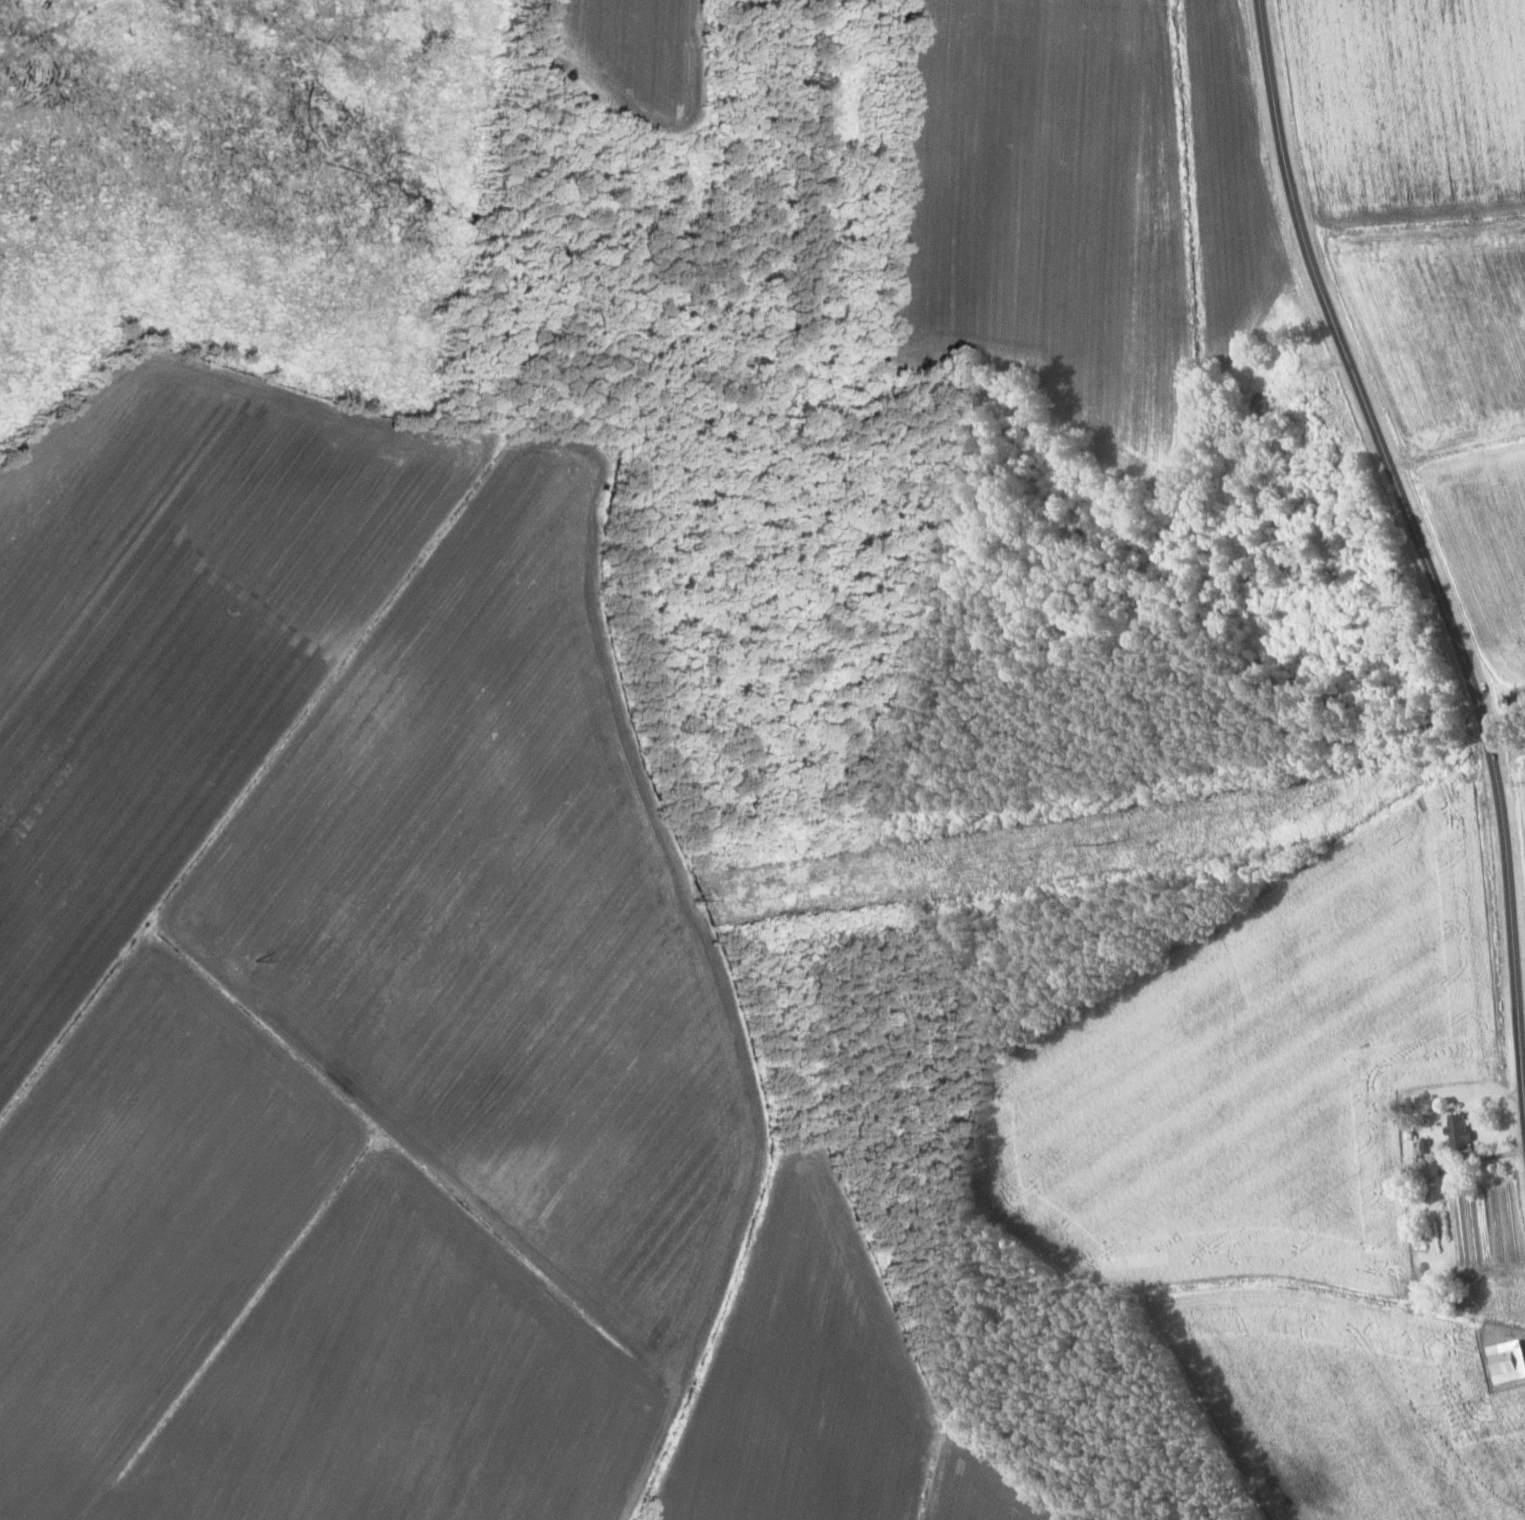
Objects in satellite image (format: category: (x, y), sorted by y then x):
road: (1423, 551)
power tower: (1099, 844)
power tower: (697, 897)
power tower: (255, 960)
building: (1507, 1362)

